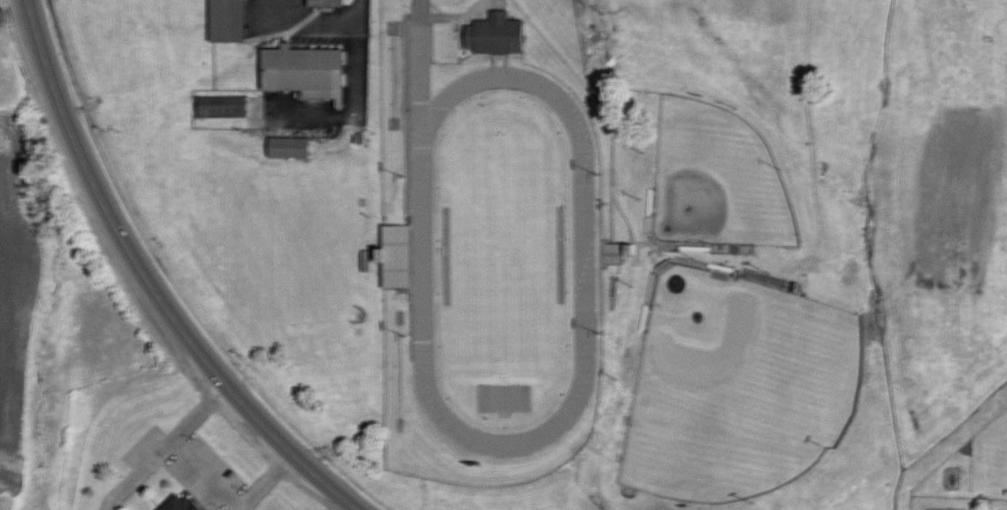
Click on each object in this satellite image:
building: (330, 5)
building: (221, 20)
building: (493, 34)
road: (597, 37)
building: (303, 72)
building: (220, 106)
building: (286, 147)
park: (715, 179)
park: (503, 246)
road: (147, 282)
park: (734, 386)
building: (175, 503)

